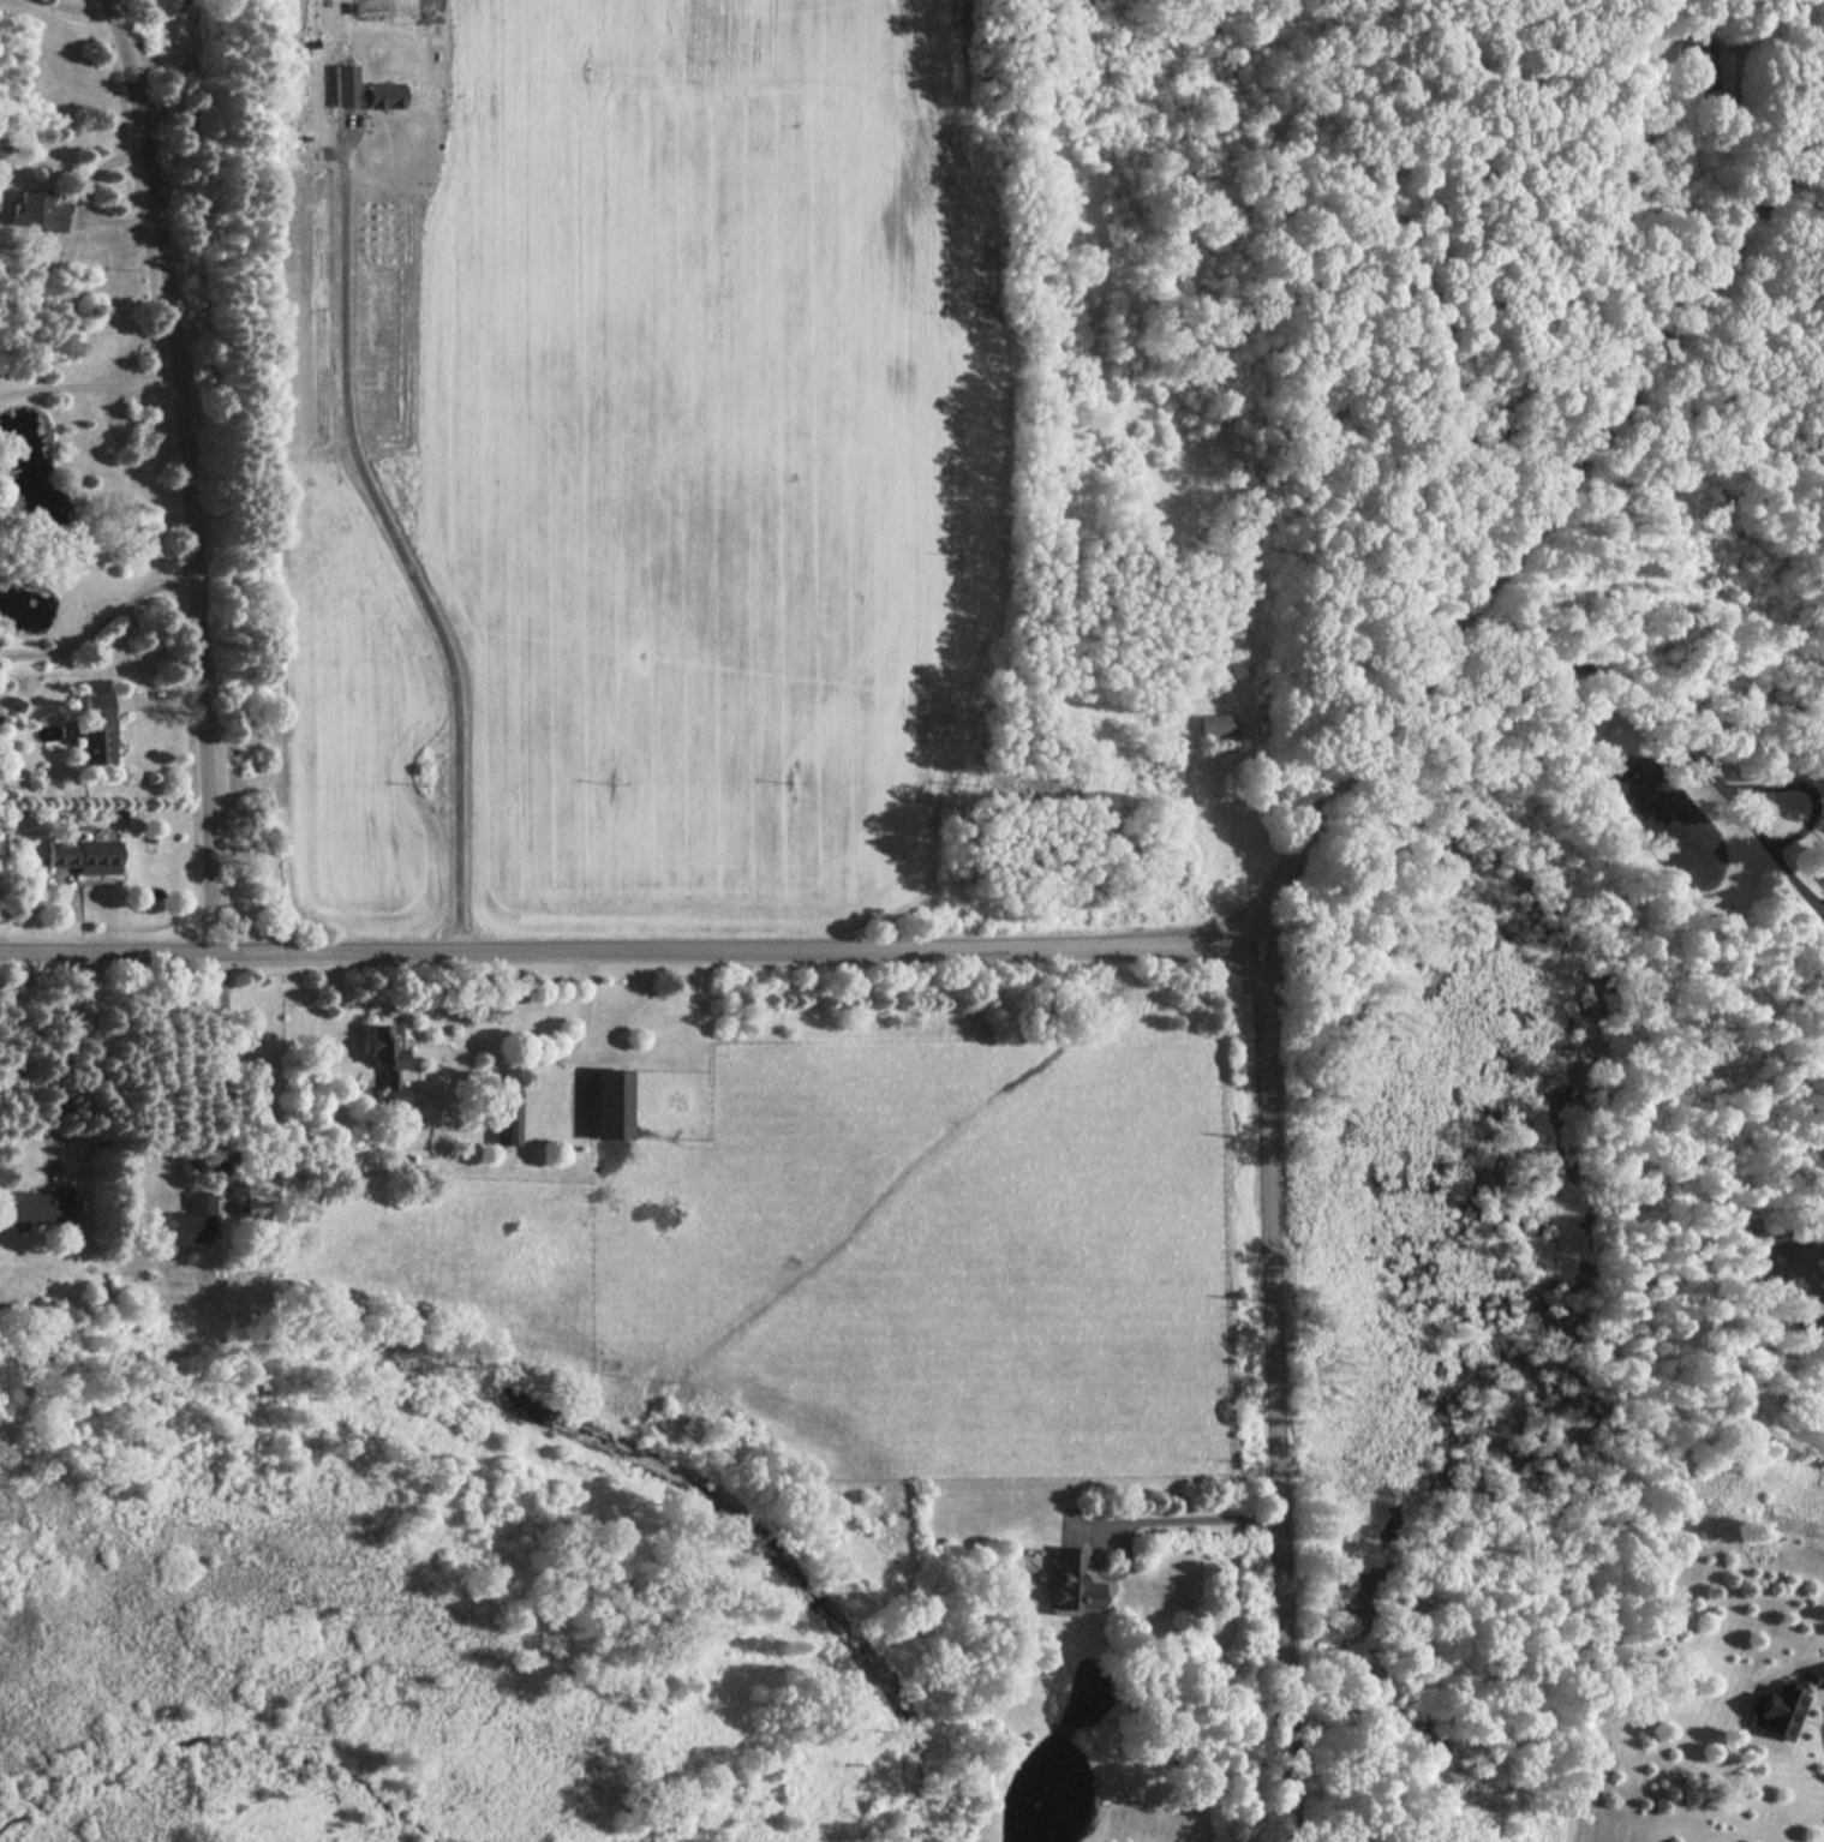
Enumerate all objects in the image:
road: (23, 1)
road: (62, 13)
road: (1782, 36)
building: (1700, 62)
building: (363, 90)
building: (37, 211)
road: (91, 402)
road: (190, 473)
road: (1521, 528)
road: (396, 542)
road: (100, 636)
road: (1607, 681)
road: (165, 702)
building: (1215, 724)
building: (95, 728)
building: (84, 855)
road: (1074, 946)
road: (572, 1042)
building: (387, 1060)
road: (228, 1061)
building: (610, 1102)
building: (34, 1206)
building: (189, 1219)
road: (1176, 1519)
building: (1072, 1580)
building: (1814, 1674)
building: (1780, 1710)

